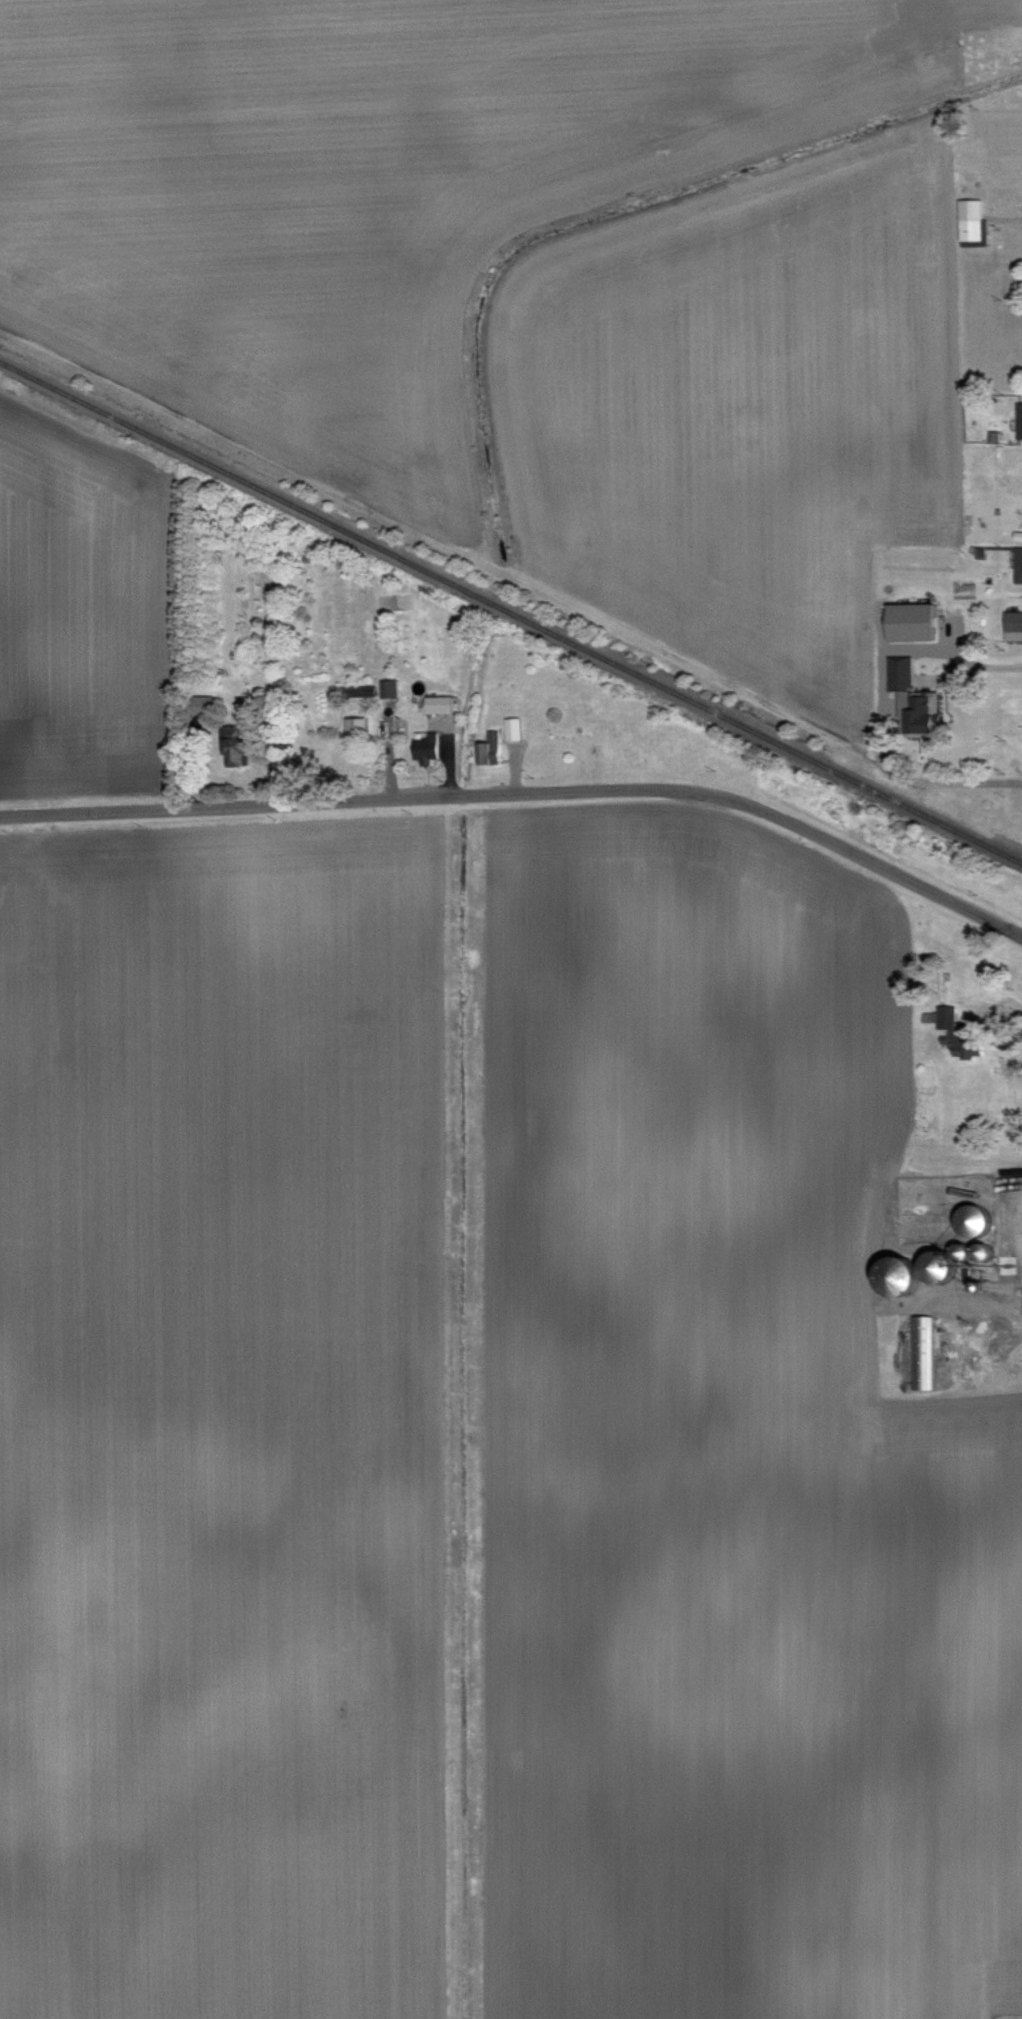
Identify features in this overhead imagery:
building: (973, 218)
crop: (519, 431)
building: (1019, 563)
railway: (511, 610)
building: (903, 618)
building: (1011, 622)
building: (896, 670)
building: (441, 702)
road: (883, 703)
building: (912, 713)
building: (515, 727)
road: (527, 789)
building: (945, 1019)
road: (999, 1024)
building: (920, 1350)

